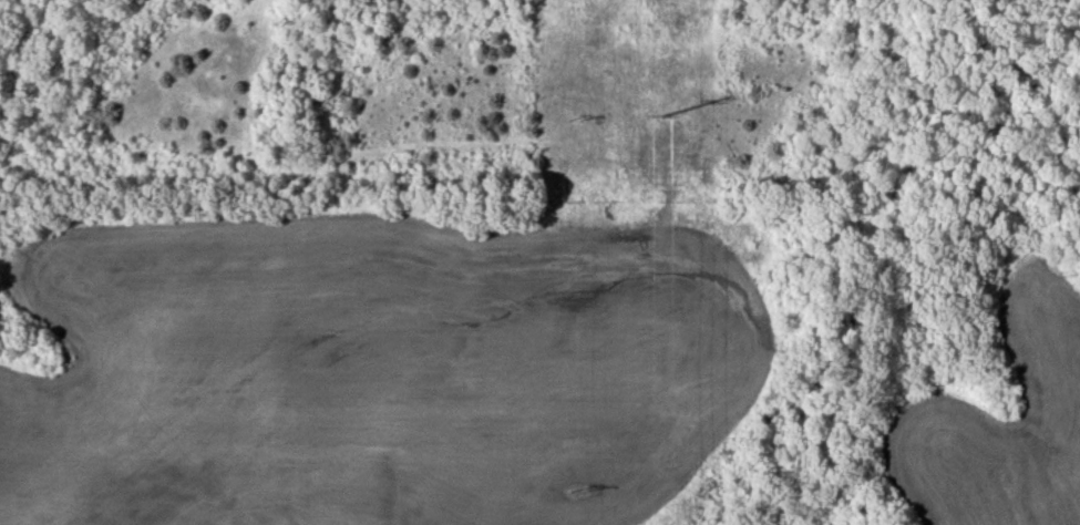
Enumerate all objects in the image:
power tower: (665, 114)
power tower: (574, 123)
power tower: (570, 496)

